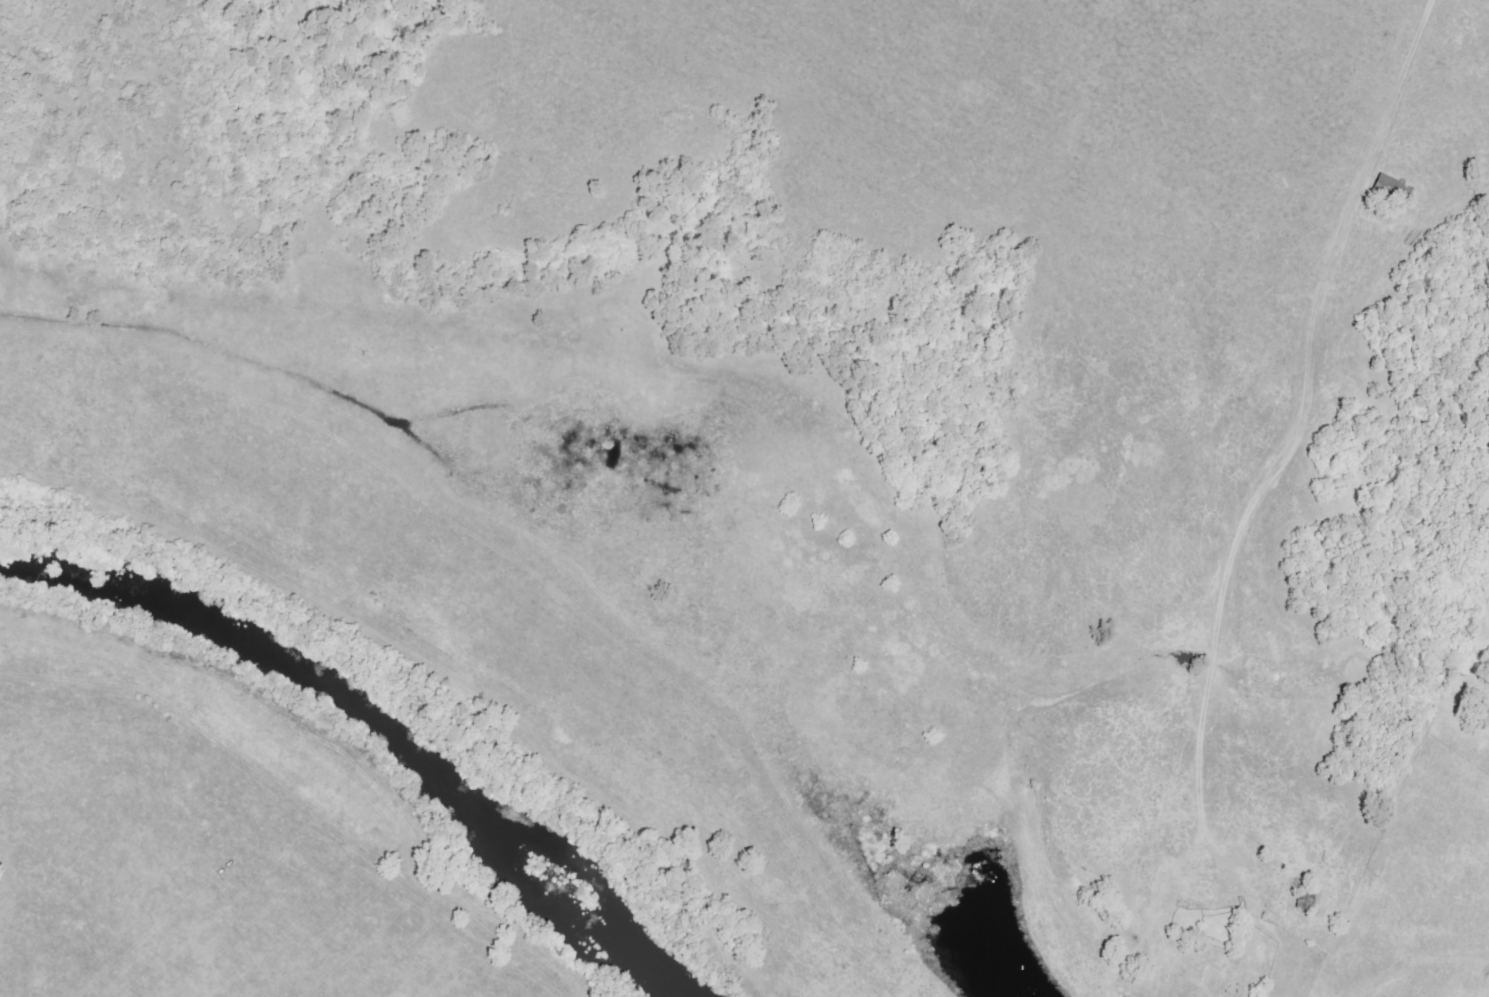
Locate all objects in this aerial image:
road: (1262, 492)

